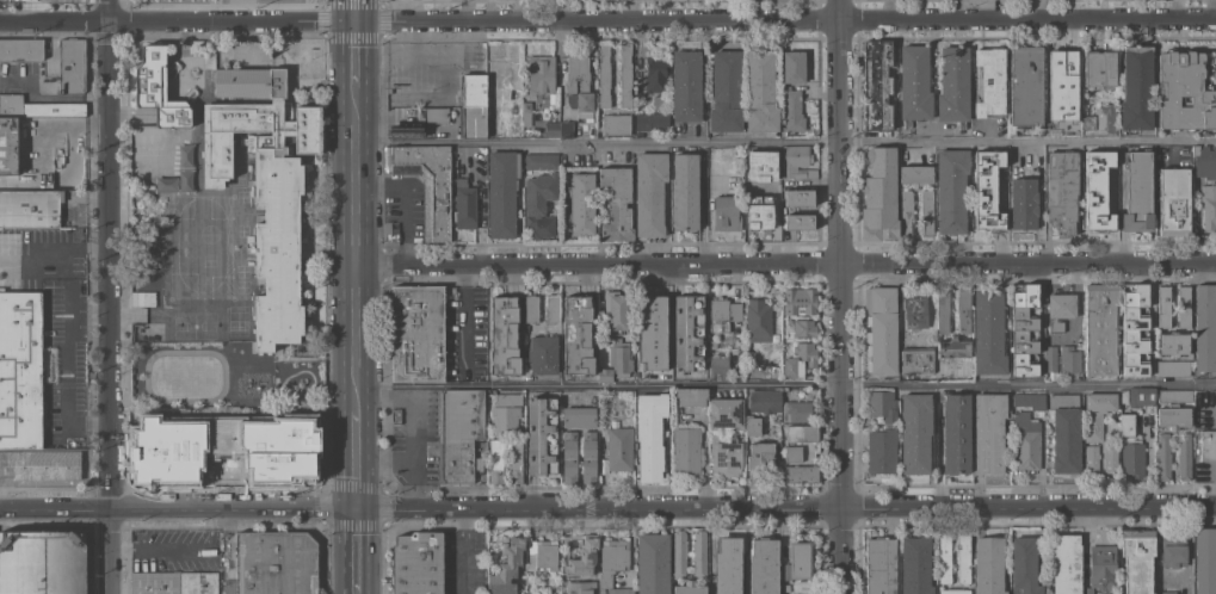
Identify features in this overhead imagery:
building: (7, 0)
road: (1177, 7)
building: (1211, 8)
road: (607, 21)
traffic signals: (353, 23)
building: (196, 45)
building: (20, 49)
building: (1215, 60)
building: (72, 66)
building: (794, 66)
building: (1099, 68)
building: (1060, 69)
building: (578, 73)
building: (542, 74)
building: (604, 74)
building: (625, 74)
building: (655, 74)
building: (246, 80)
building: (990, 81)
building: (914, 83)
building: (876, 85)
building: (953, 85)
building: (1026, 85)
building: (686, 86)
building: (1136, 87)
building: (159, 88)
building: (726, 91)
building: (760, 91)
building: (1184, 92)
building: (474, 105)
building: (581, 106)
building: (792, 110)
building: (437, 115)
building: (1106, 117)
building: (652, 120)
building: (1066, 122)
building: (1088, 122)
building: (616, 124)
building: (567, 129)
building: (638, 134)
road: (1029, 141)
road: (598, 142)
building: (8, 144)
building: (482, 149)
building: (757, 159)
building: (542, 161)
building: (1204, 161)
building: (797, 162)
building: (1087, 165)
building: (1106, 168)
building: (177, 171)
building: (915, 174)
building: (26, 184)
building: (426, 184)
building: (146, 186)
building: (986, 188)
building: (951, 190)
building: (685, 191)
building: (1061, 191)
building: (502, 192)
building: (650, 193)
building: (1137, 193)
building: (800, 196)
building: (879, 196)
building: (267, 202)
road: (354, 202)
building: (1173, 202)
building: (582, 203)
building: (1024, 203)
building: (465, 204)
building: (539, 204)
building: (617, 204)
building: (1209, 206)
building: (30, 208)
building: (757, 208)
building: (1097, 208)
building: (794, 212)
building: (906, 212)
building: (726, 214)
building: (926, 214)
building: (390, 233)
road: (49, 249)
road: (66, 262)
road: (784, 266)
road: (104, 297)
road: (842, 297)
building: (800, 301)
building: (1163, 305)
building: (1183, 307)
building: (531, 308)
building: (553, 308)
building: (943, 309)
building: (963, 309)
building: (616, 310)
building: (1060, 310)
building: (915, 311)
building: (718, 314)
road: (464, 316)
building: (758, 317)
building: (1205, 327)
building: (804, 328)
building: (1100, 328)
building: (1134, 328)
building: (879, 329)
building: (1024, 329)
building: (988, 332)
building: (652, 333)
building: (689, 333)
building: (418, 334)
building: (504, 335)
building: (578, 335)
building: (1174, 344)
building: (953, 347)
building: (542, 354)
building: (800, 359)
building: (1051, 359)
building: (1069, 359)
building: (617, 360)
building: (916, 360)
building: (718, 366)
building: (1171, 367)
building: (20, 369)
road: (67, 370)
road: (599, 383)
road: (1029, 385)
building: (1141, 395)
building: (1174, 395)
building: (691, 396)
building: (1123, 396)
building: (508, 398)
building: (764, 401)
building: (1029, 401)
building: (882, 404)
building: (796, 410)
building: (726, 413)
building: (1039, 414)
building: (1097, 414)
building: (396, 415)
building: (579, 416)
building: (1173, 417)
building: (507, 419)
building: (752, 425)
building: (915, 432)
building: (1066, 432)
building: (802, 433)
building: (957, 433)
building: (988, 433)
building: (459, 434)
building: (650, 434)
building: (542, 435)
building: (1026, 441)
building: (1206, 445)
road: (413, 446)
building: (619, 447)
building: (1130, 448)
building: (221, 450)
building: (686, 450)
building: (882, 450)
building: (794, 453)
road: (357, 454)
building: (805, 454)
building: (726, 456)
building: (1163, 456)
building: (1183, 456)
building: (569, 457)
building: (588, 457)
building: (1091, 458)
building: (1110, 458)
building: (758, 459)
road: (384, 460)
building: (495, 460)
building: (514, 460)
building: (43, 464)
building: (801, 472)
road: (178, 506)
traffic signals: (358, 507)
road: (786, 508)
road: (212, 519)
road: (121, 546)
road: (180, 546)
road: (358, 550)
building: (1173, 550)
road: (463, 551)
building: (679, 553)
building: (699, 553)
building: (542, 555)
building: (582, 557)
building: (944, 557)
building: (963, 557)
building: (800, 558)
building: (612, 559)
building: (1137, 559)
building: (1205, 561)
building: (42, 562)
building: (276, 562)
building: (418, 563)
building: (653, 563)
building: (728, 564)
building: (988, 564)
building: (1066, 564)
building: (881, 565)
building: (915, 565)
building: (1024, 565)
building: (507, 567)
building: (764, 567)
building: (1101, 567)
building: (784, 571)
building: (529, 581)
building: (174, 582)
building: (581, 587)
building: (690, 588)
building: (621, 590)
building: (1086, 590)
building: (955, 592)
building: (1167, 592)
building: (550, 593)

